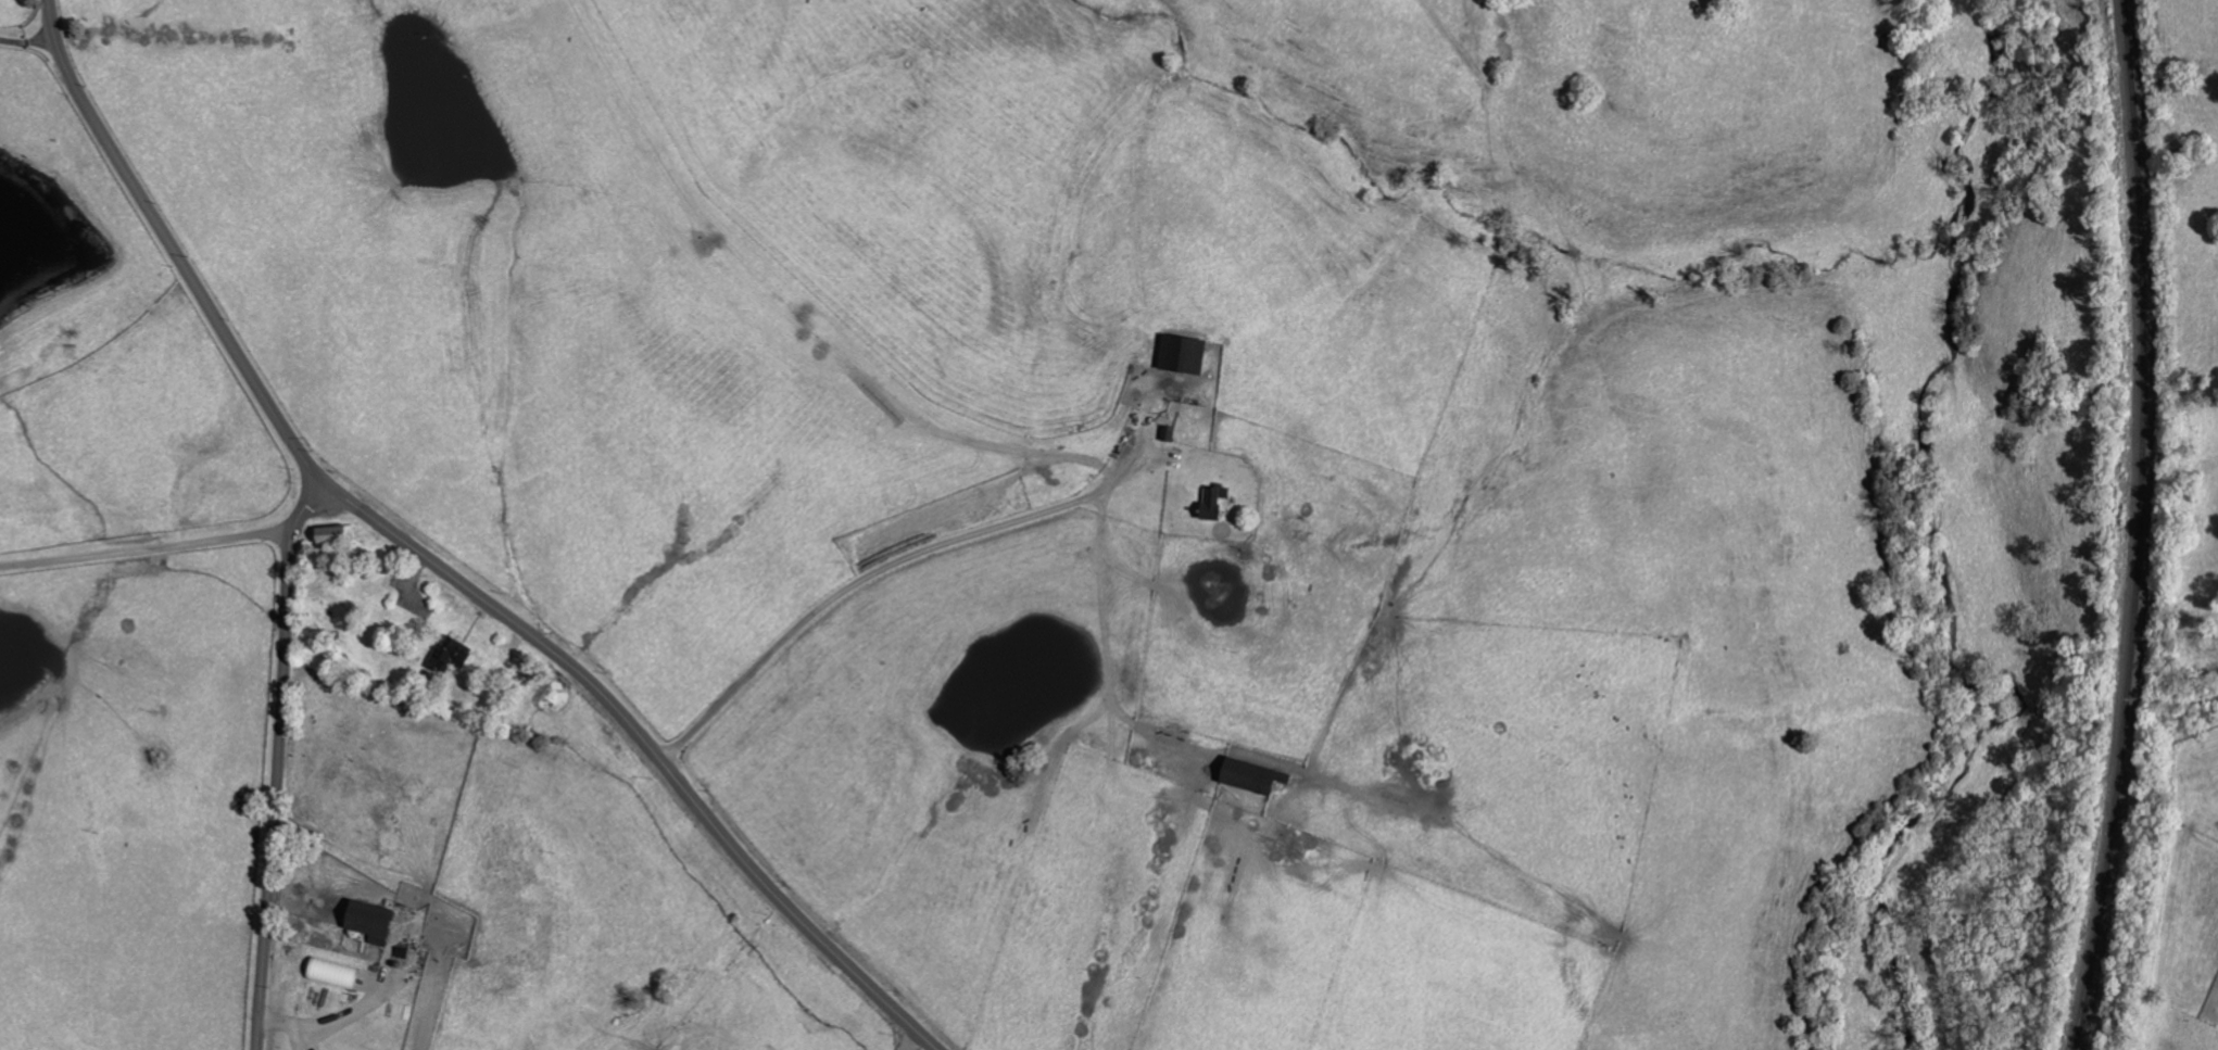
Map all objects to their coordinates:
road: (29, 40)
road: (176, 249)
building: (1181, 355)
building: (1213, 505)
railway: (2141, 527)
building: (333, 535)
road: (148, 549)
road: (915, 549)
road: (652, 748)
road: (279, 760)
building: (1246, 777)
building: (367, 920)
building: (332, 973)

